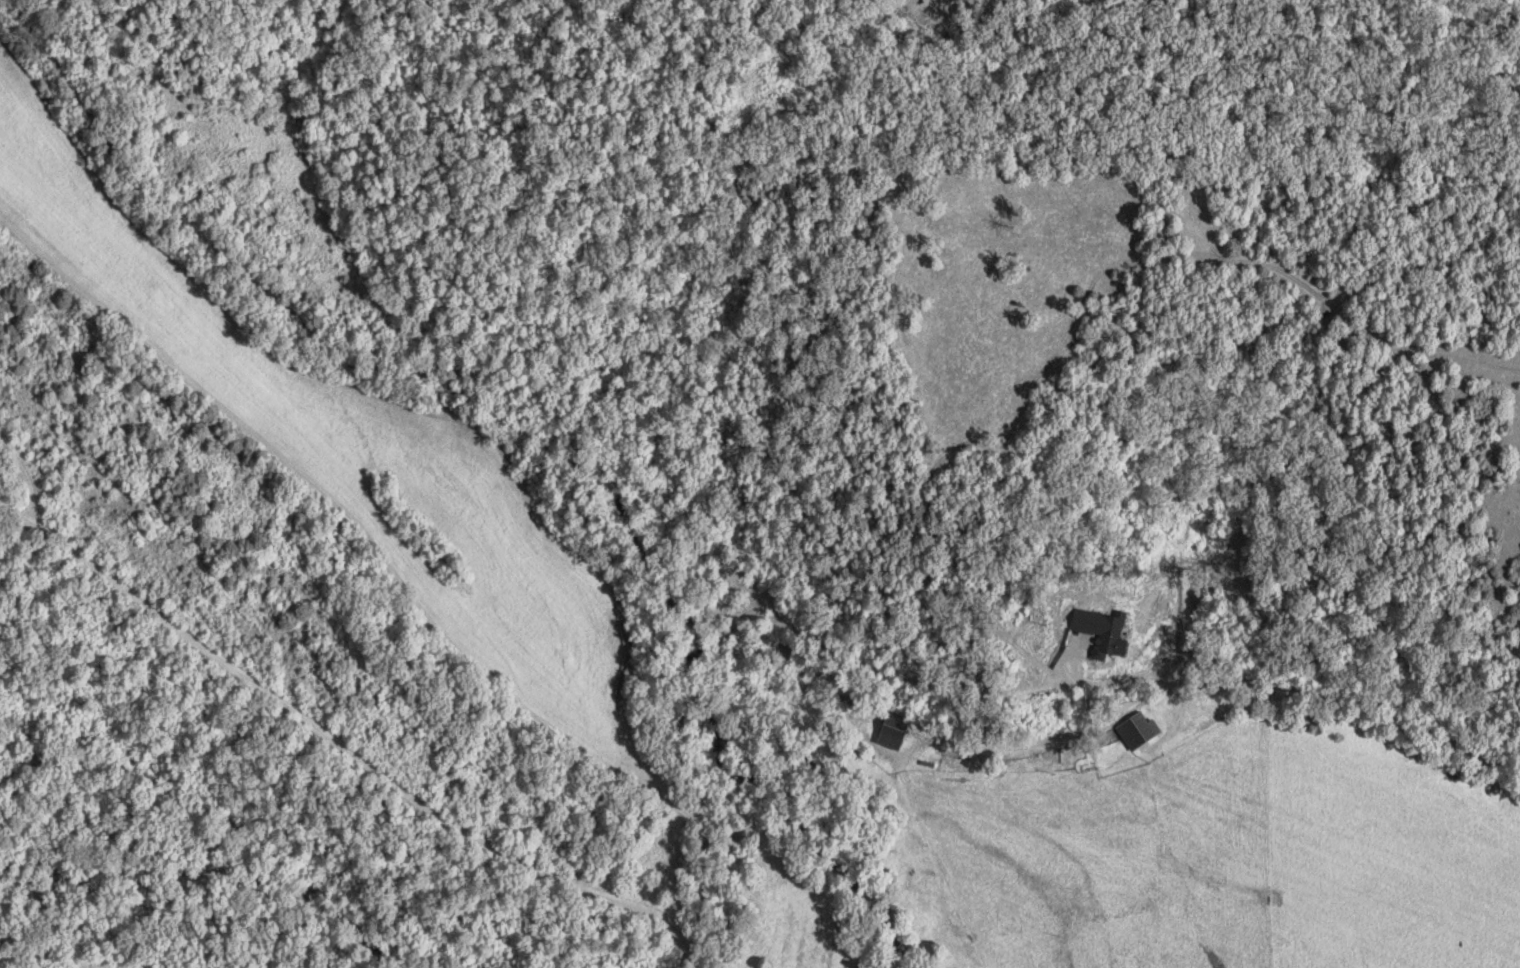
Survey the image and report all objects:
road: (389, 577)
road: (1218, 675)
building: (1180, 723)
road: (335, 744)
road: (680, 959)

